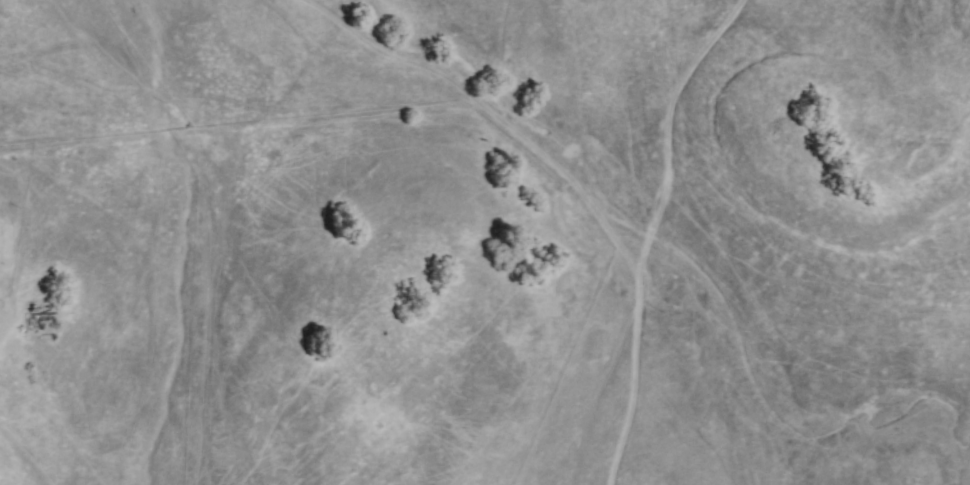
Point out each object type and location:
road: (27, 452)

